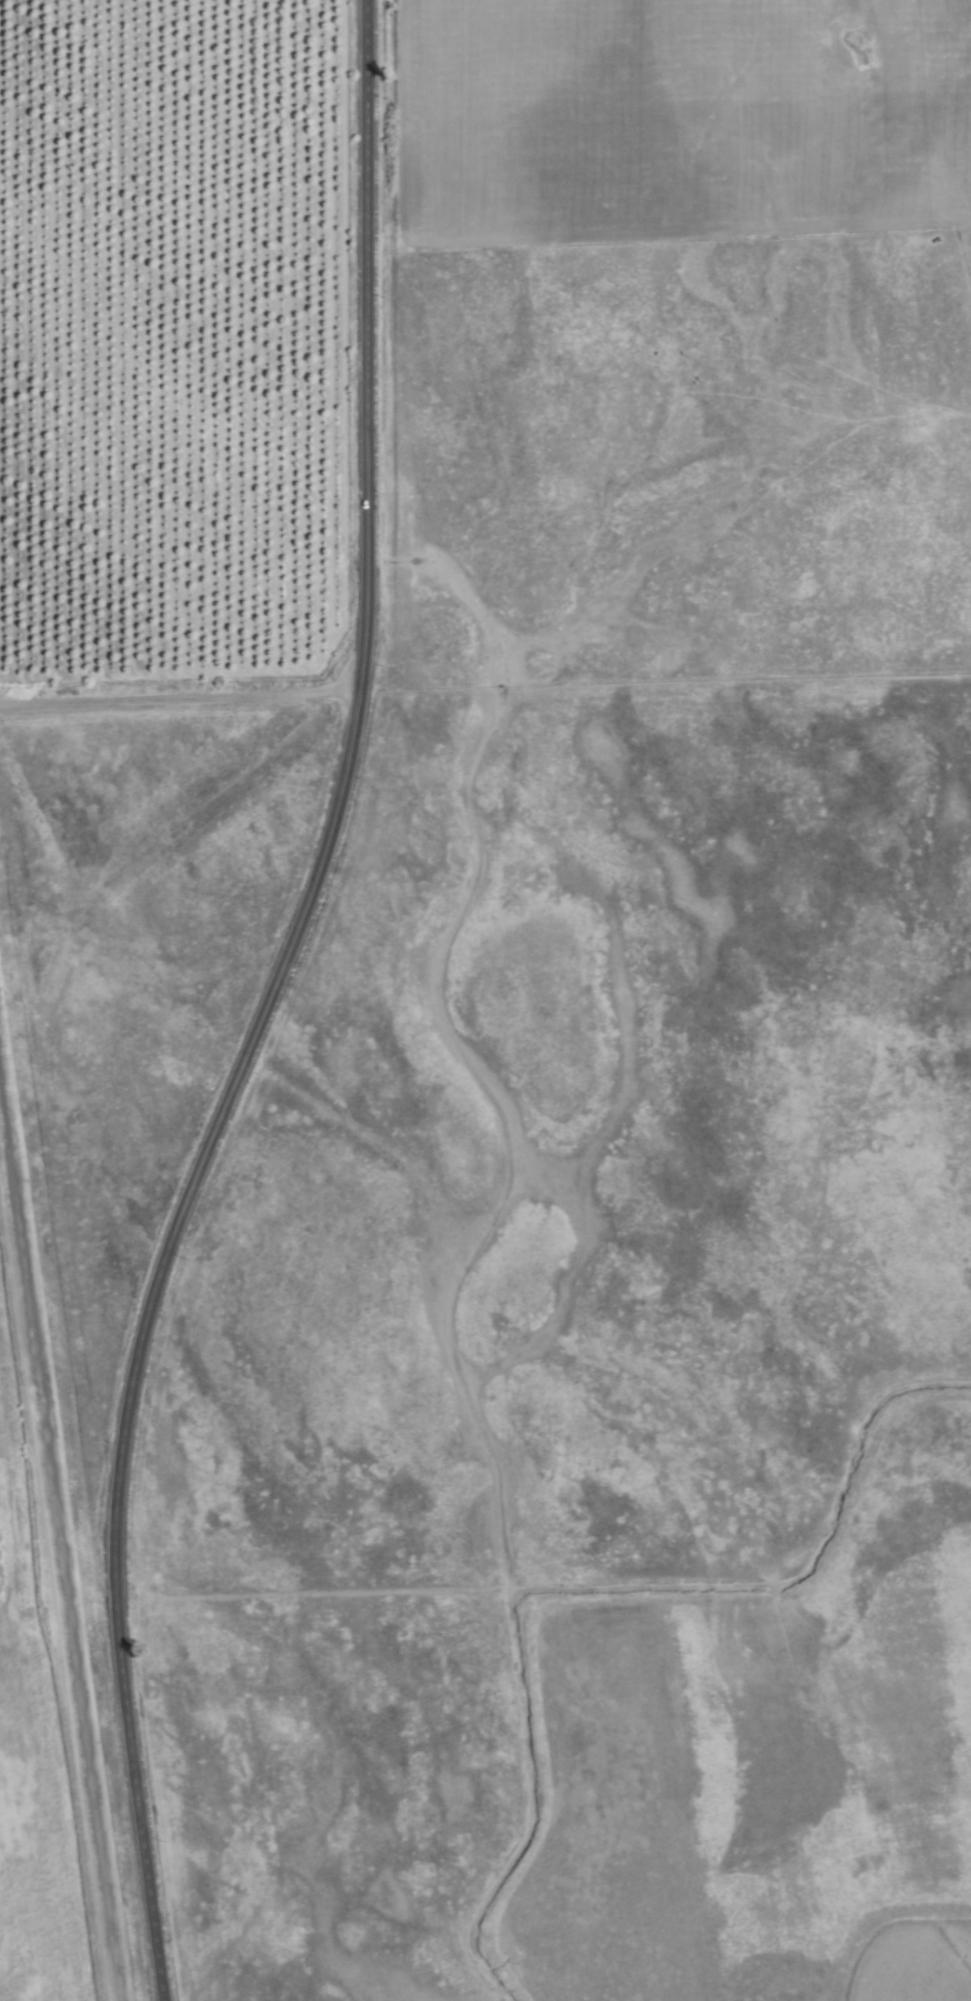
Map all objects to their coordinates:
road: (179, 695)
road: (264, 1007)
road: (57, 1564)

